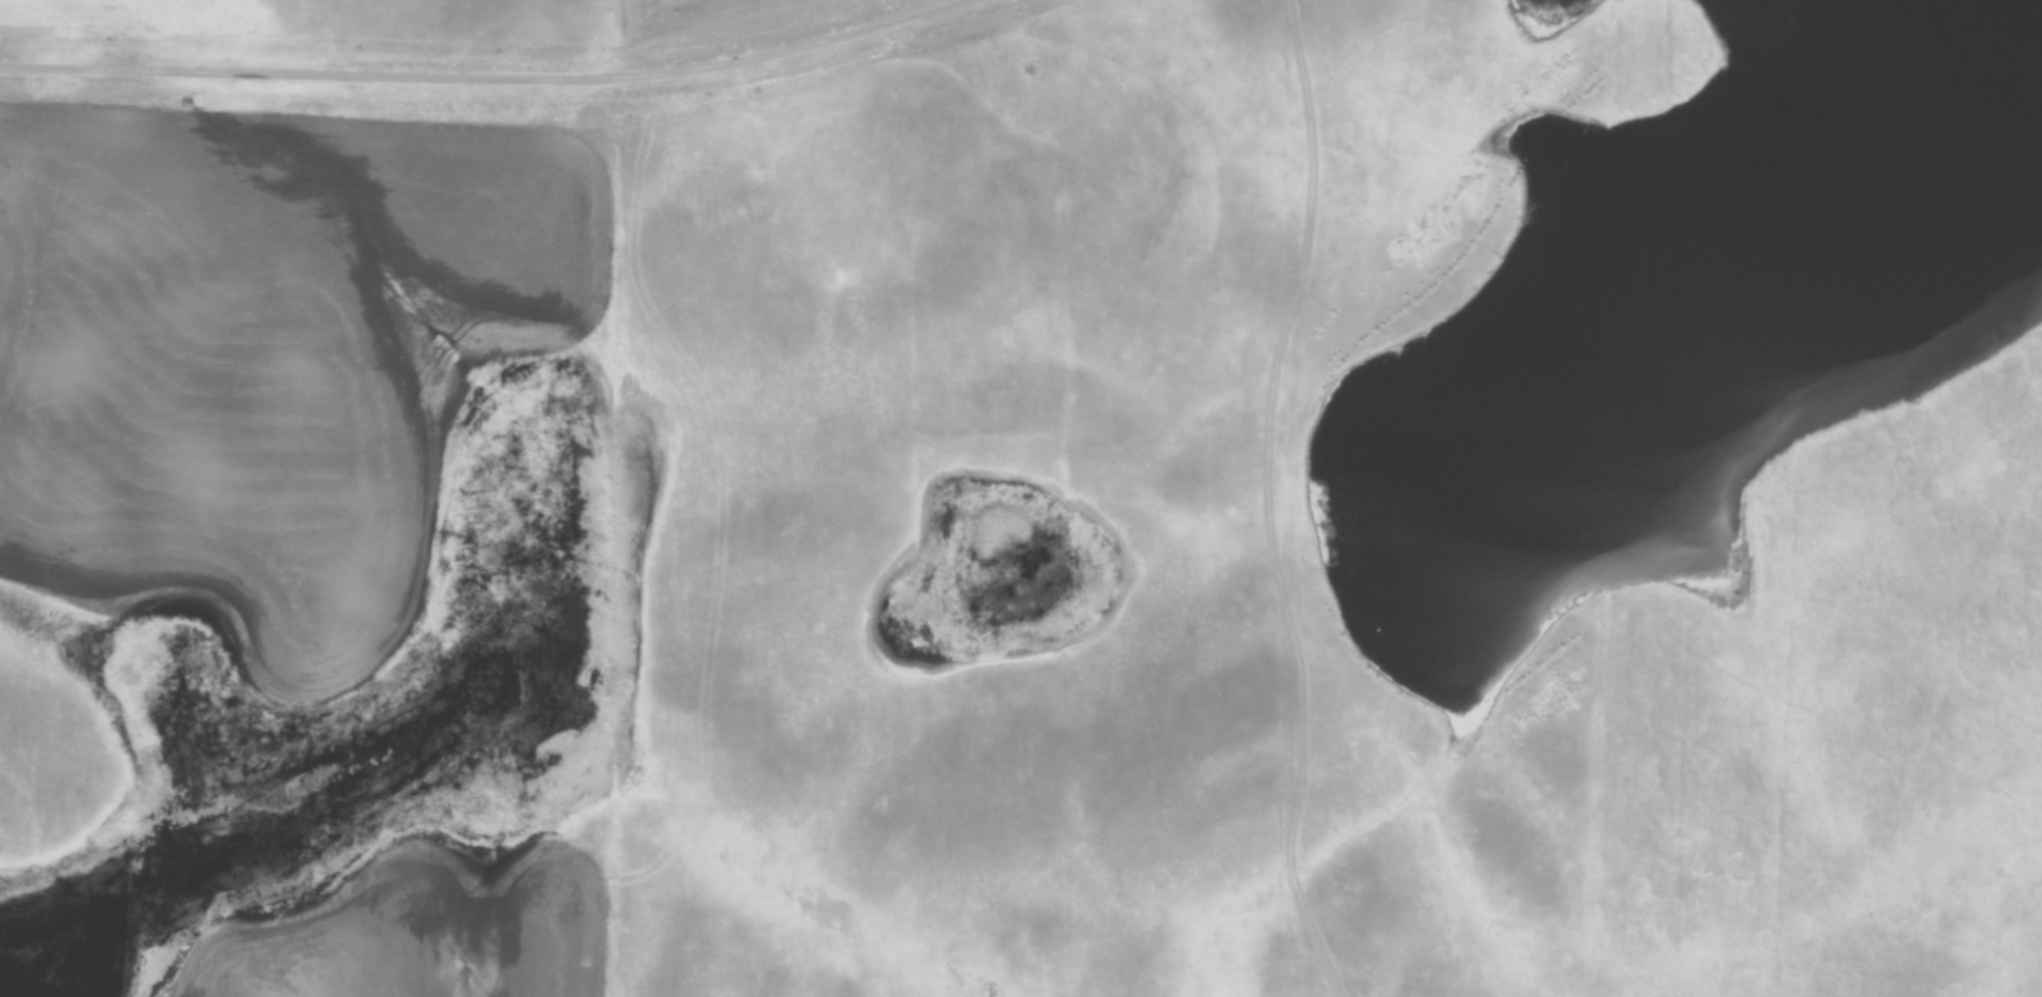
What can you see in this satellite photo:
road: (489, 75)

